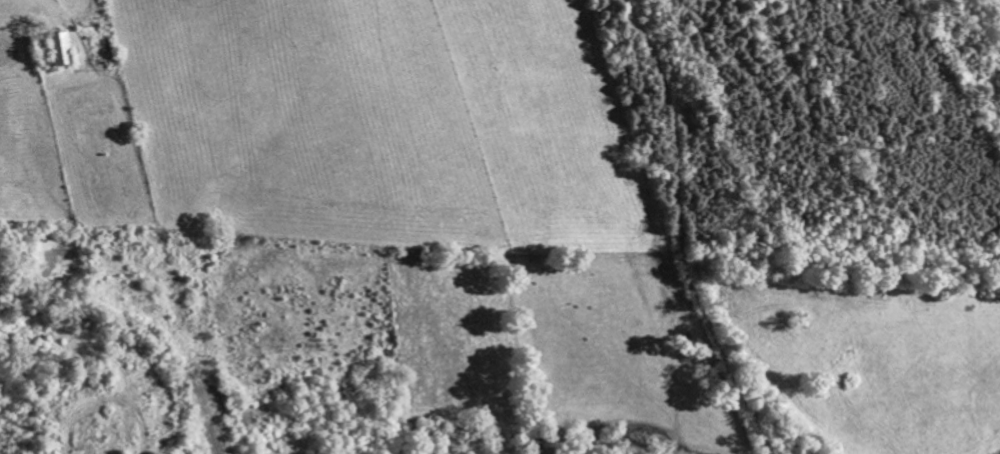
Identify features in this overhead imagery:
building: (56, 49)

